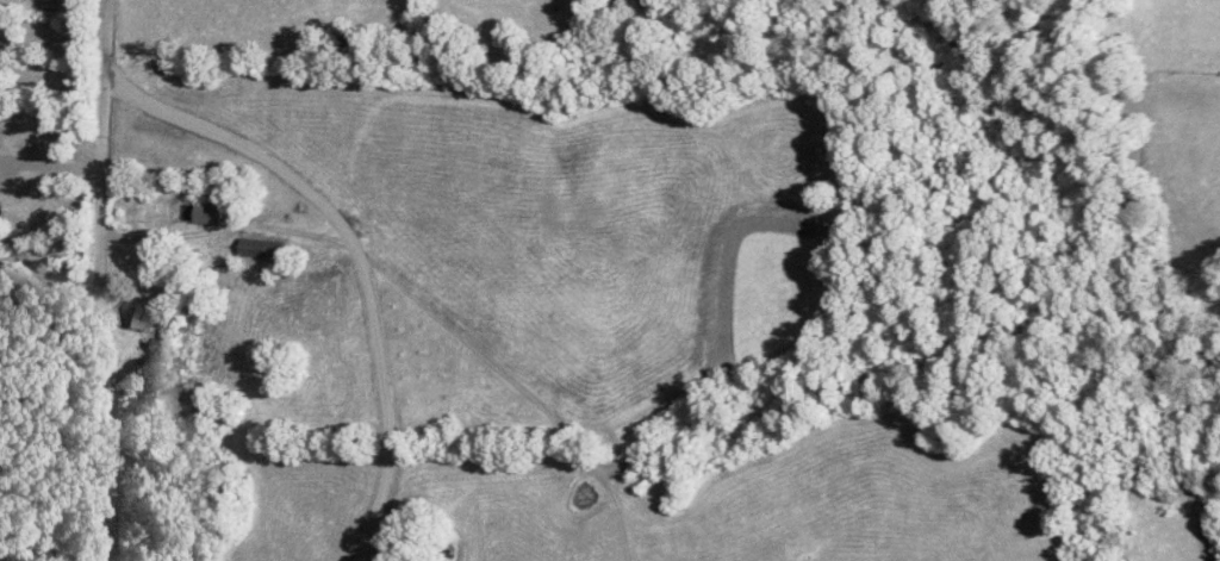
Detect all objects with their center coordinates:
road: (56, 166)
building: (210, 218)
building: (262, 251)
road: (107, 280)
building: (147, 317)

